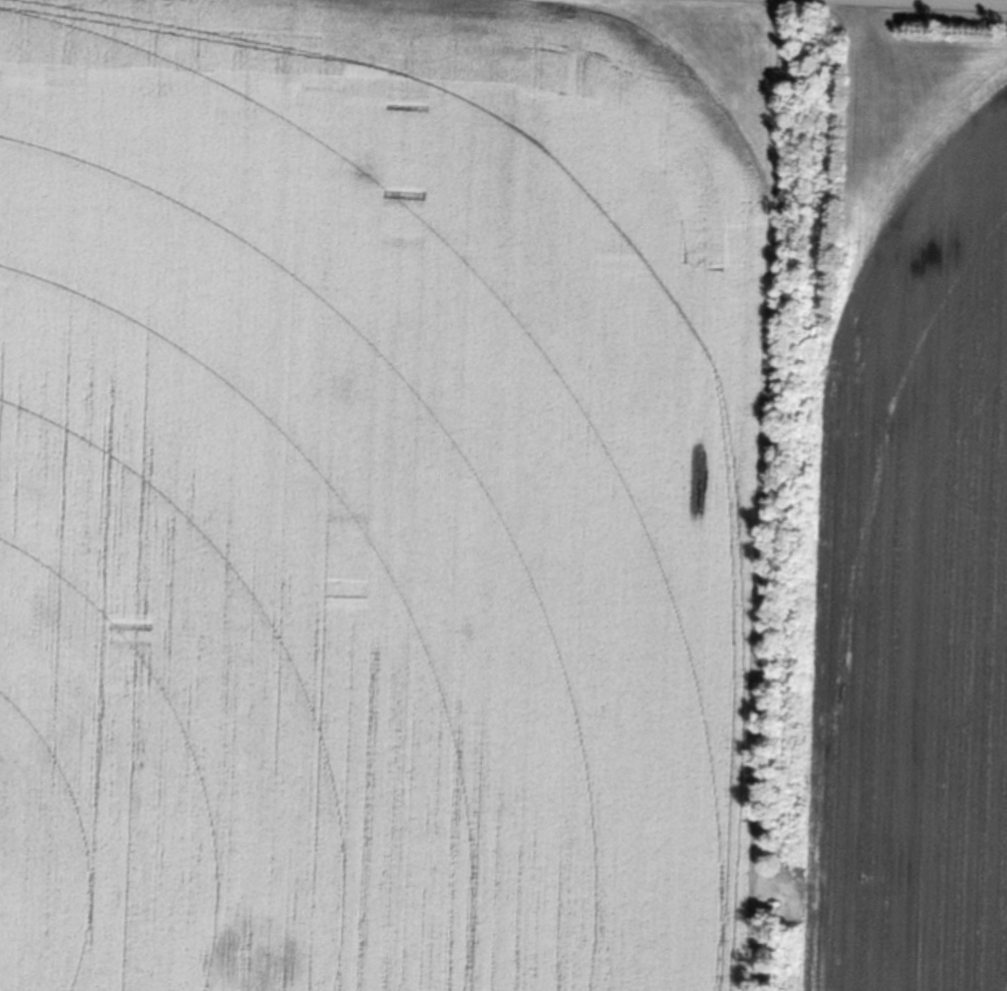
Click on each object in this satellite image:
road: (977, 1)
crop: (502, 496)

